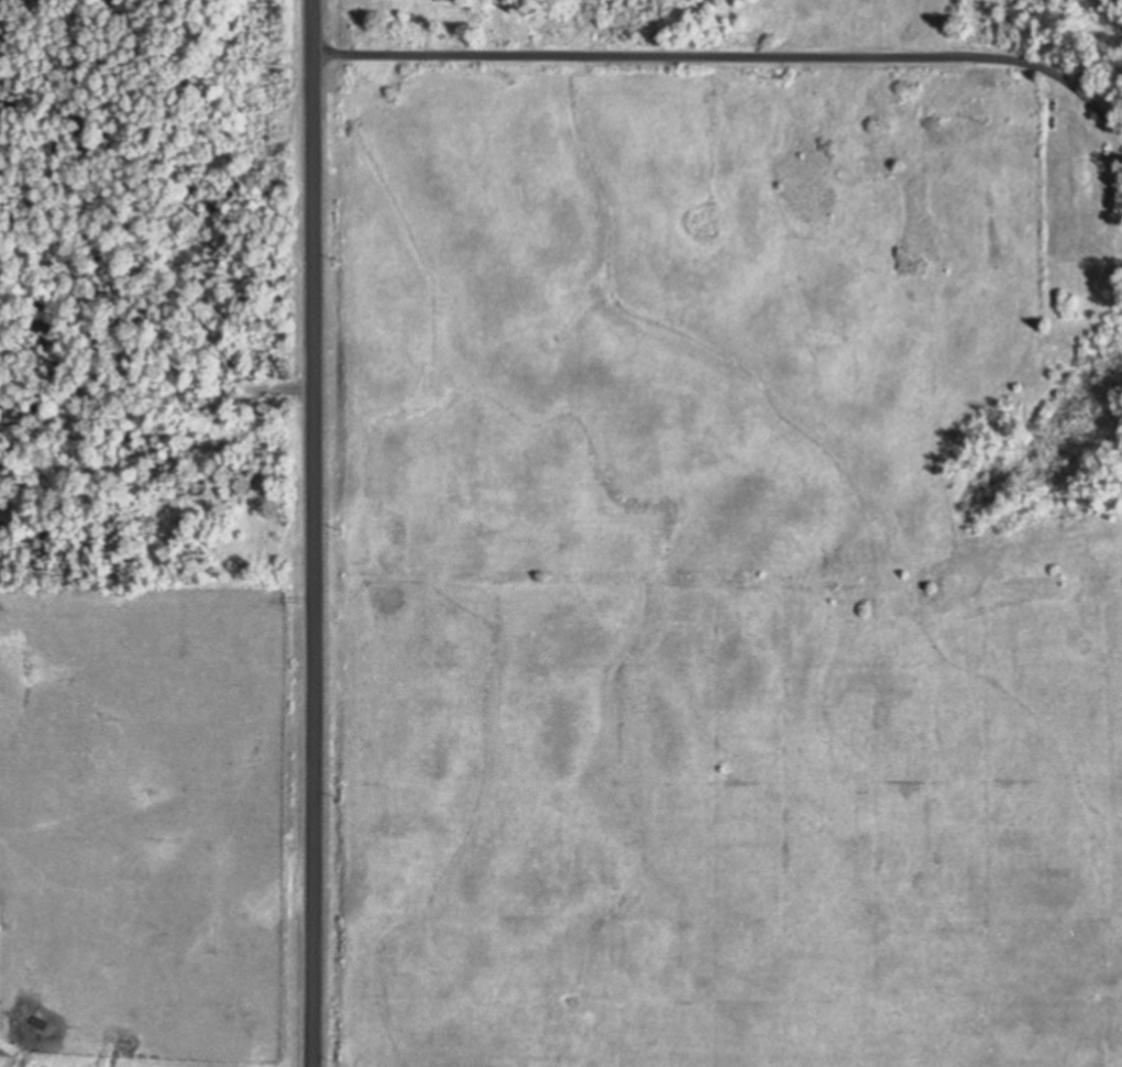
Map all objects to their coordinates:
road: (729, 56)
road: (311, 532)
building: (41, 1022)

